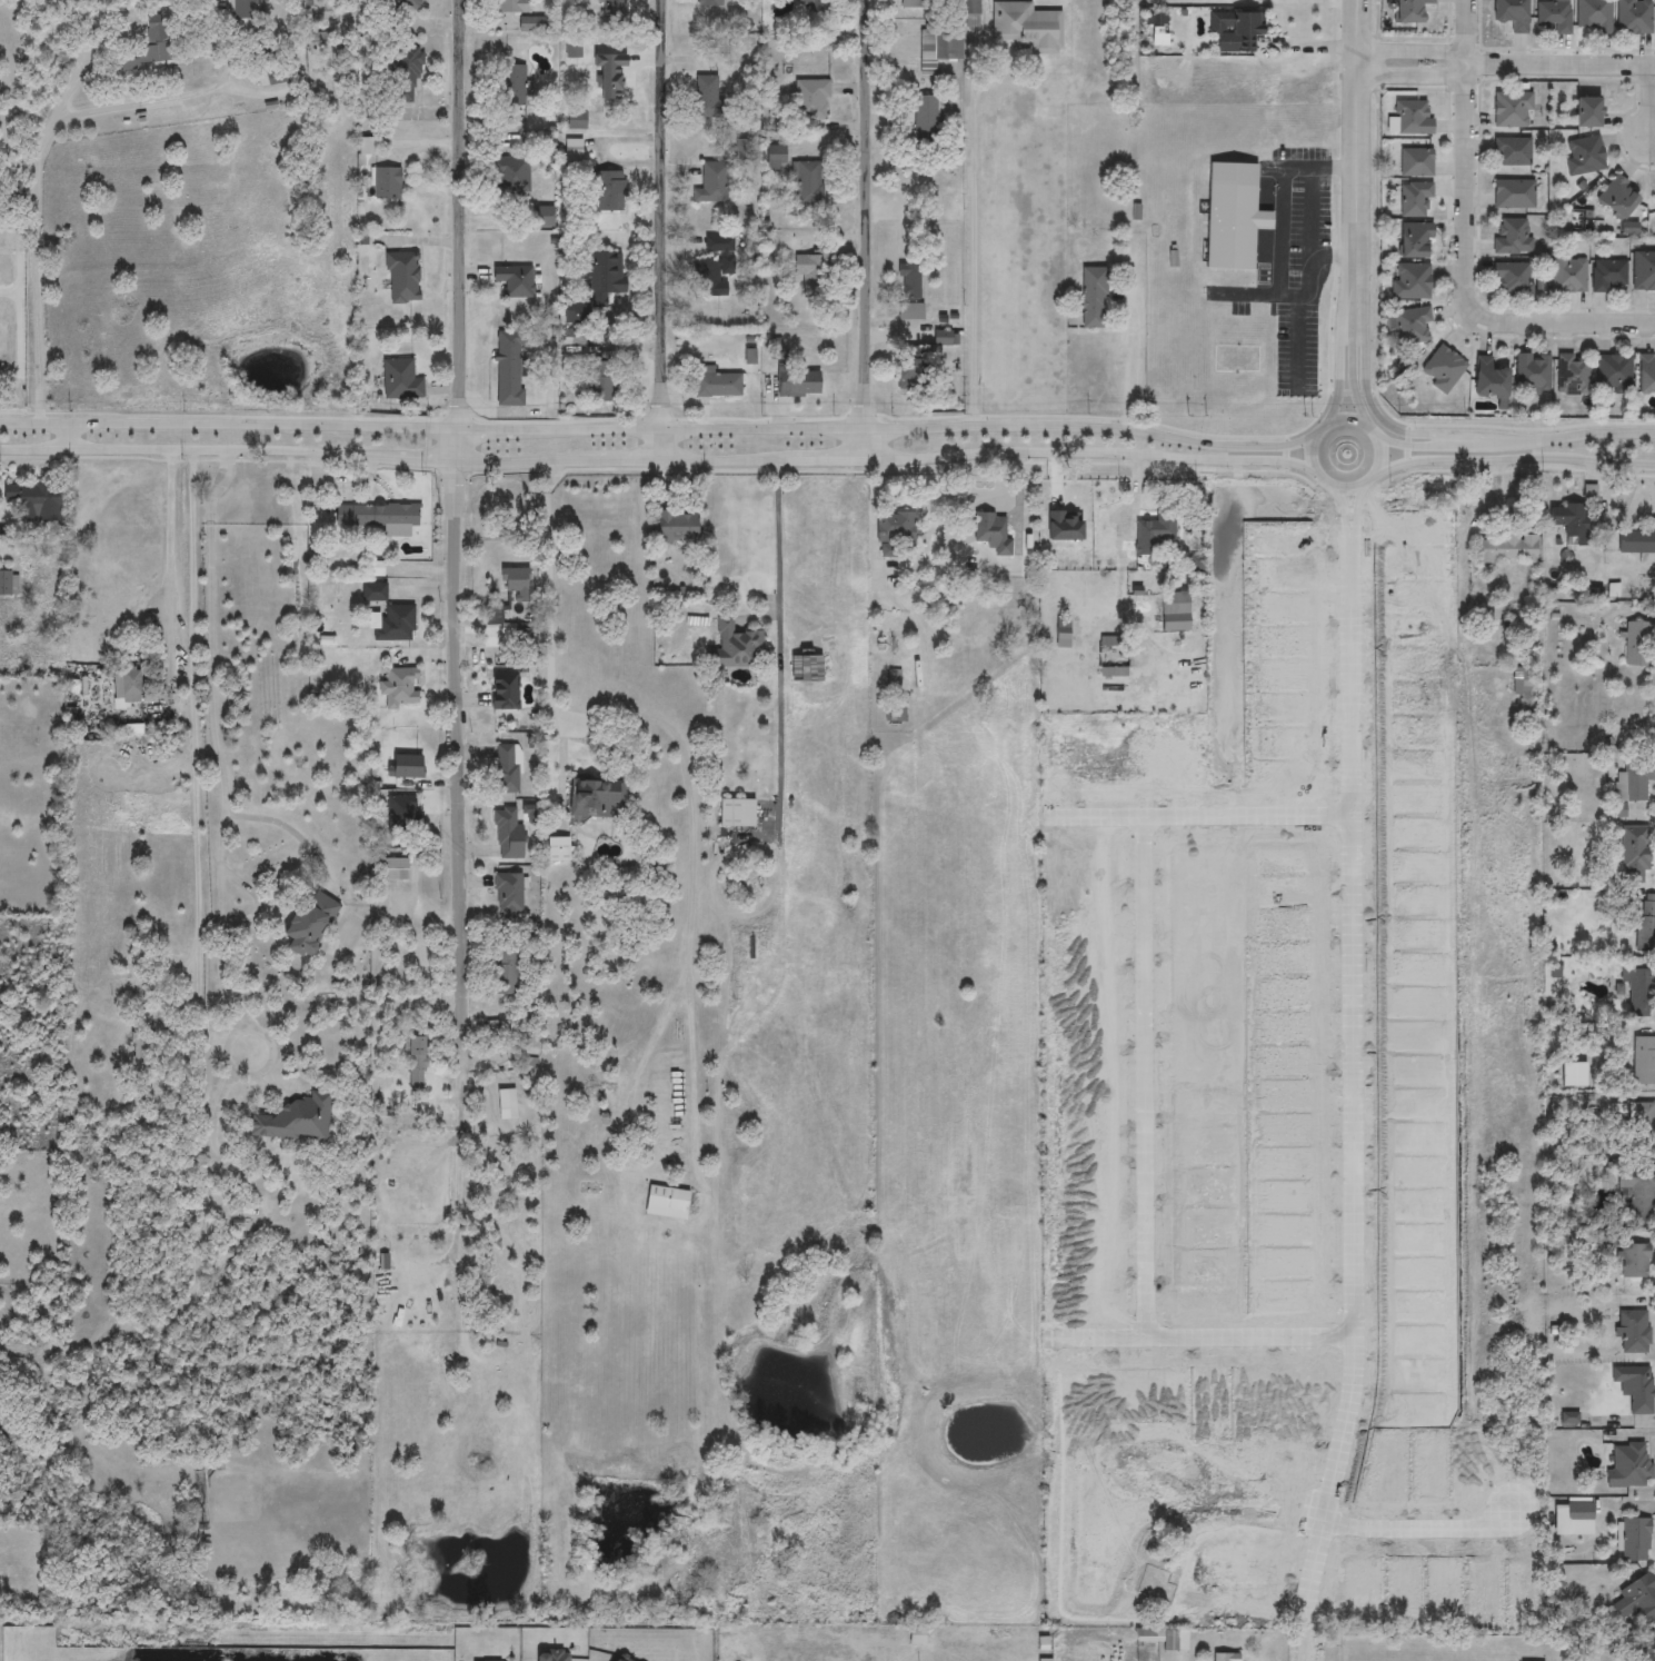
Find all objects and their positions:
building: (707, 2)
building: (911, 3)
building: (402, 4)
building: (509, 6)
building: (818, 6)
building: (970, 6)
building: (1407, 10)
building: (610, 11)
building: (246, 12)
building: (1509, 13)
building: (1553, 14)
building: (1592, 16)
building: (1633, 16)
building: (530, 24)
building: (1025, 27)
building: (1240, 32)
road: (1474, 33)
building: (940, 42)
building: (156, 44)
building: (272, 51)
road: (1504, 67)
building: (402, 73)
building: (275, 77)
building: (596, 79)
building: (511, 84)
building: (706, 96)
road: (159, 100)
building: (810, 100)
building: (1511, 109)
building: (1586, 111)
building: (1412, 117)
building: (575, 120)
building: (925, 121)
building: (1511, 151)
building: (572, 153)
building: (1583, 153)
building: (774, 158)
road: (1354, 160)
building: (1415, 161)
building: (510, 175)
building: (711, 182)
building: (809, 182)
building: (385, 183)
building: (609, 191)
building: (1513, 192)
building: (1616, 195)
building: (1653, 195)
road: (1278, 198)
building: (1414, 198)
building: (1232, 215)
road: (661, 229)
road: (459, 230)
road: (866, 230)
road: (973, 232)
road: (40, 233)
building: (1509, 235)
building: (1413, 239)
building: (714, 262)
building: (1643, 270)
building: (1567, 271)
building: (809, 272)
building: (1607, 273)
building: (402, 277)
building: (601, 277)
building: (1511, 278)
building: (512, 279)
building: (908, 280)
building: (1410, 280)
road: (1468, 288)
building: (1093, 297)
road: (1293, 297)
building: (909, 311)
building: (1408, 325)
road: (1131, 357)
building: (508, 367)
building: (908, 368)
building: (1440, 368)
building: (1531, 372)
building: (1572, 372)
road: (1340, 374)
building: (1612, 374)
building: (1645, 374)
road: (1353, 377)
building: (1488, 378)
building: (399, 379)
building: (599, 380)
building: (798, 382)
building: (714, 384)
road: (1370, 405)
road: (658, 429)
road: (64, 436)
road: (1551, 440)
road: (1310, 444)
road: (1410, 445)
road: (1511, 459)
road: (658, 460)
building: (39, 498)
road: (1017, 506)
road: (1355, 515)
road: (1346, 516)
building: (379, 517)
building: (1569, 520)
building: (678, 527)
building: (895, 533)
building: (993, 533)
building: (1151, 535)
building: (1629, 541)
building: (1507, 549)
road: (170, 571)
building: (516, 583)
building: (9, 584)
building: (372, 593)
building: (1175, 613)
building: (493, 616)
building: (396, 625)
building: (1063, 640)
road: (779, 645)
building: (1639, 645)
building: (736, 647)
building: (1113, 658)
building: (1524, 683)
building: (894, 685)
building: (127, 687)
building: (402, 688)
building: (505, 690)
building: (897, 713)
road: (211, 739)
road: (675, 748)
road: (461, 760)
building: (407, 767)
building: (508, 769)
building: (1633, 783)
building: (596, 799)
building: (403, 814)
building: (737, 814)
road: (1202, 819)
road: (295, 833)
building: (506, 834)
road: (192, 845)
building: (558, 851)
building: (1634, 855)
building: (393, 871)
building: (509, 895)
road: (260, 901)
building: (308, 924)
building: (1645, 926)
building: (507, 972)
building: (1639, 993)
building: (141, 1050)
building: (1639, 1062)
building: (416, 1066)
road: (233, 1072)
road: (1146, 1080)
road: (1353, 1095)
road: (689, 1096)
road: (221, 1101)
building: (507, 1105)
building: (295, 1121)
building: (1644, 1126)
building: (1636, 1194)
road: (451, 1197)
building: (666, 1203)
building: (1635, 1262)
building: (1634, 1333)
road: (1205, 1337)
building: (1635, 1389)
building: (1629, 1465)
building: (1573, 1519)
road: (1417, 1528)
building: (1636, 1540)
building: (1636, 1602)
building: (917, 1635)
building: (1143, 1638)
road: (1307, 1651)
building: (1647, 1652)
building: (1226, 1658)

